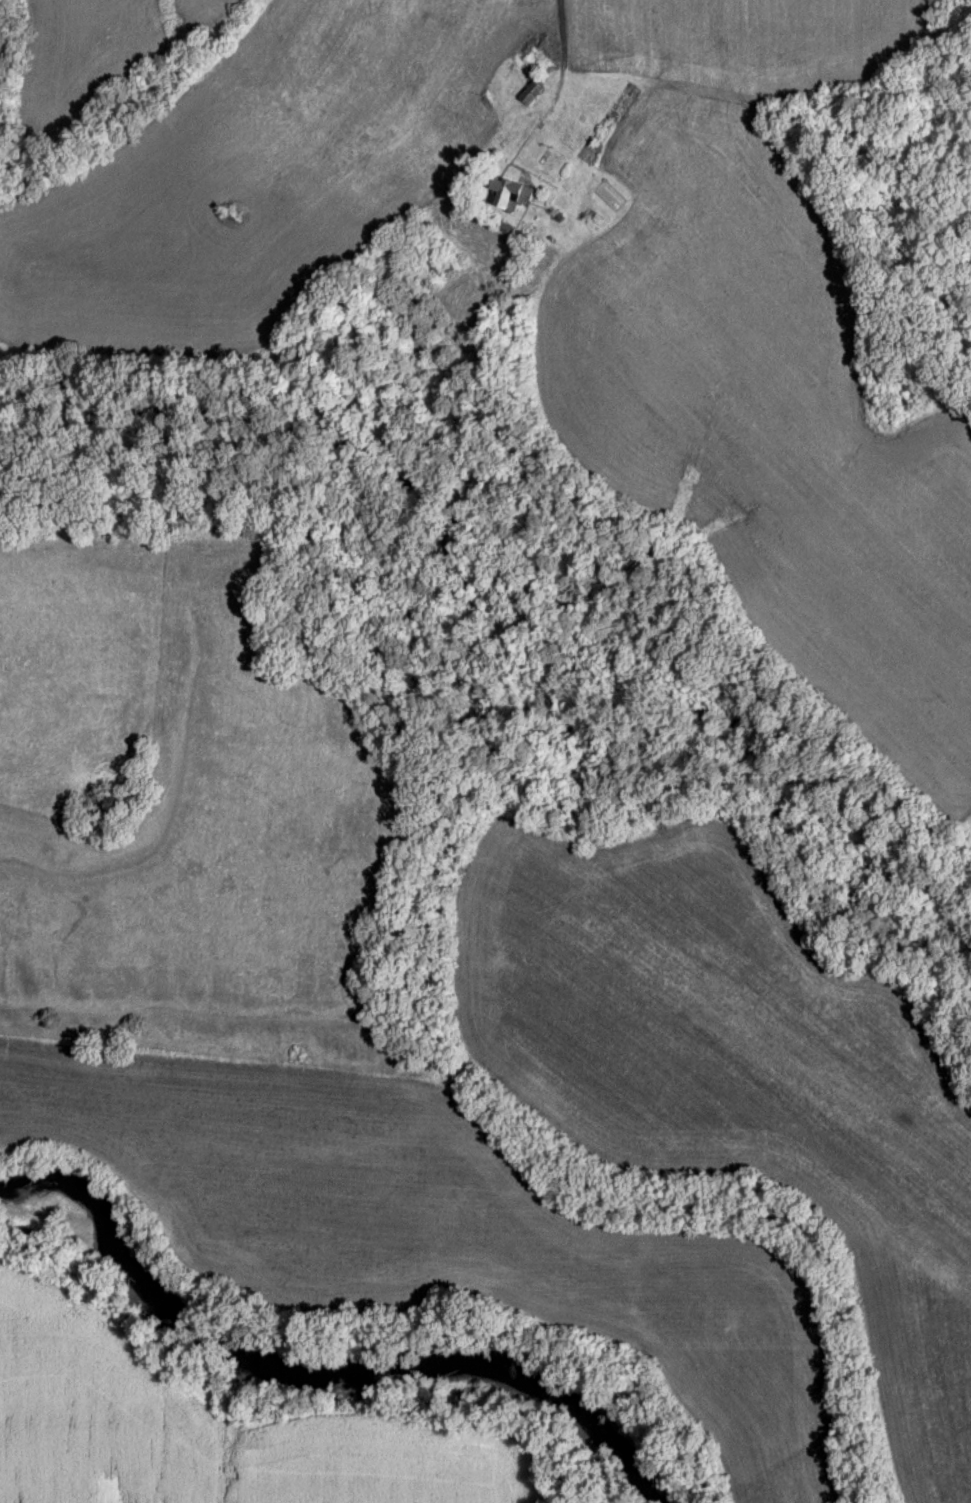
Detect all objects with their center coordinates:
road: (542, 29)
building: (536, 56)
building: (531, 94)
building: (507, 195)
river: (332, 1368)

